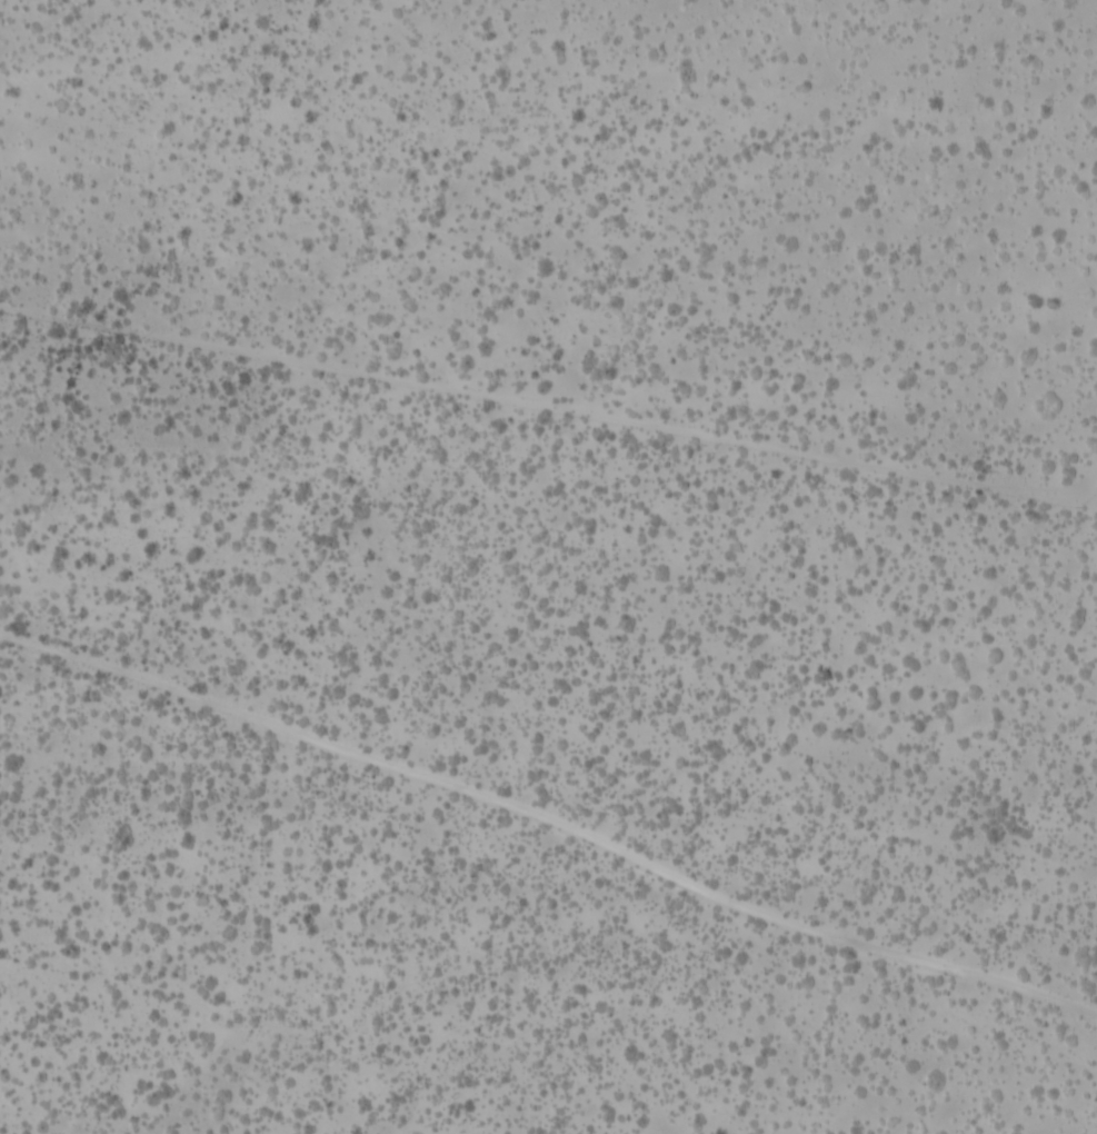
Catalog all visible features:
road: (551, 786)

